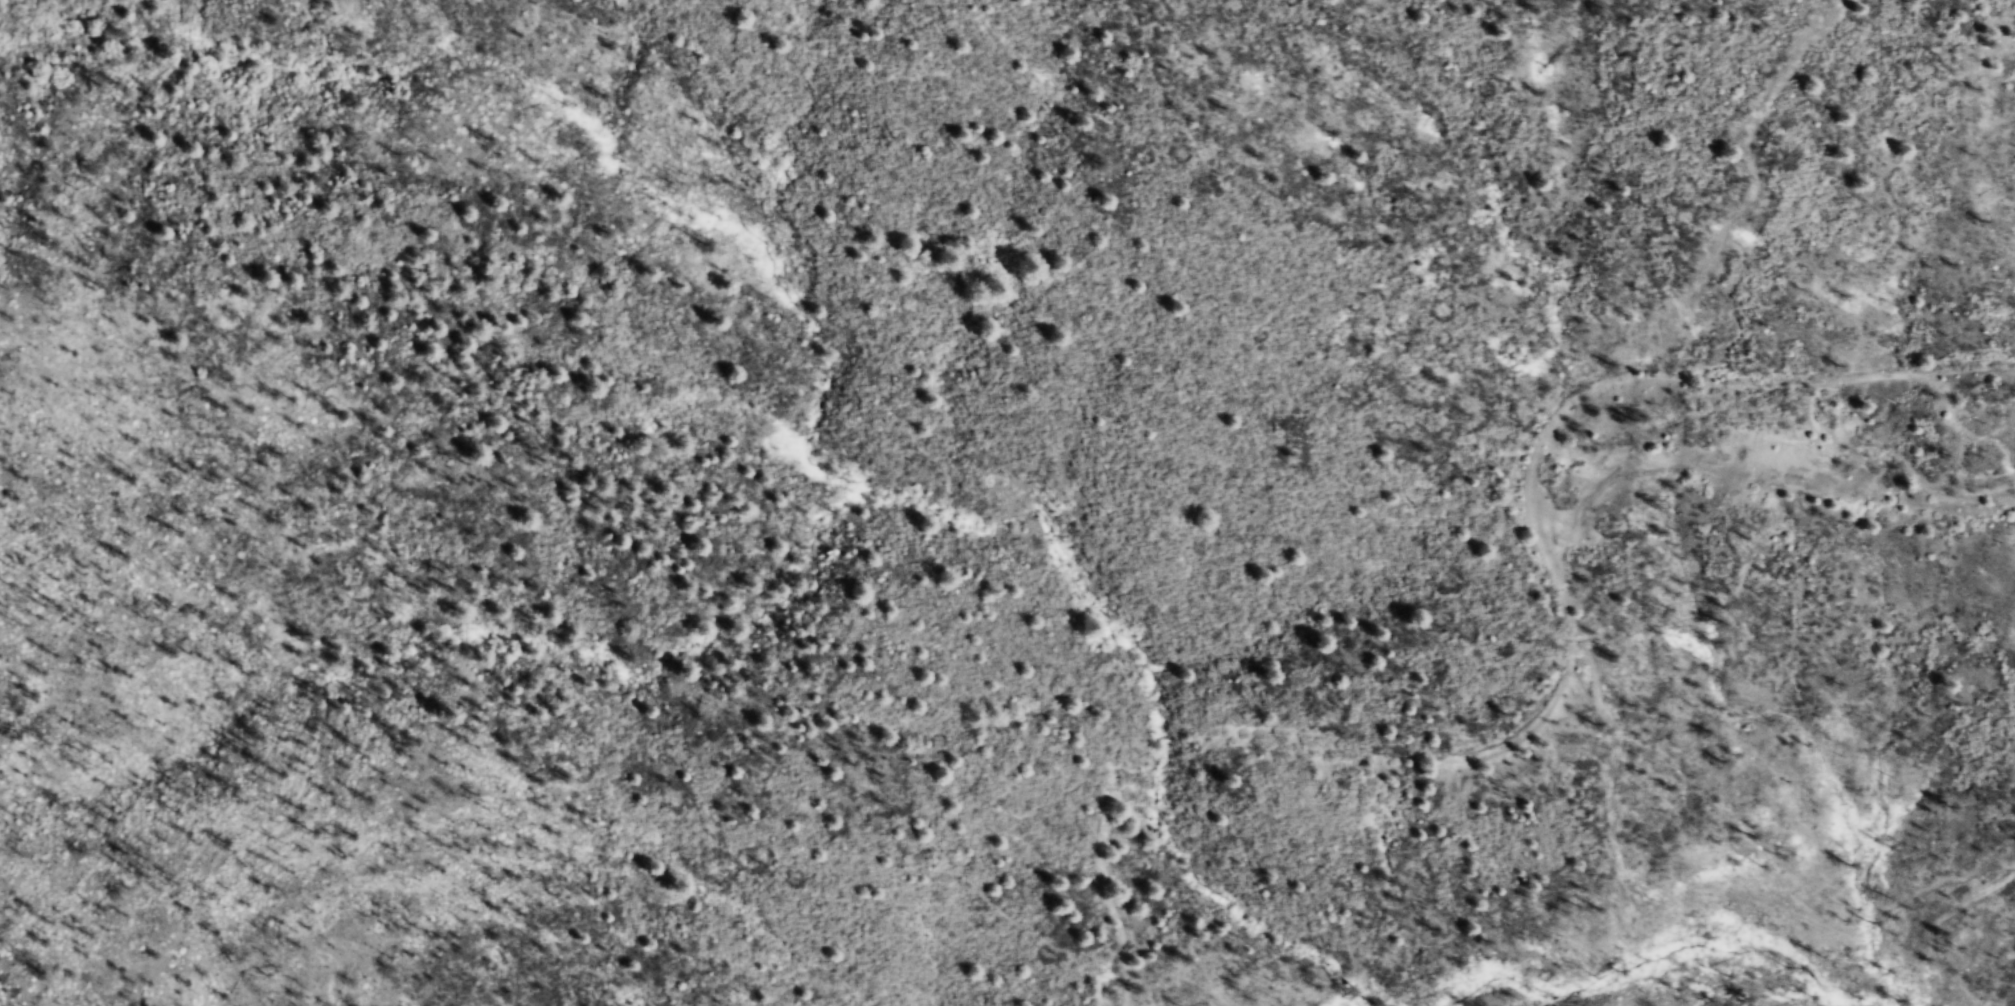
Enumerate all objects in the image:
road: (1574, 668)

